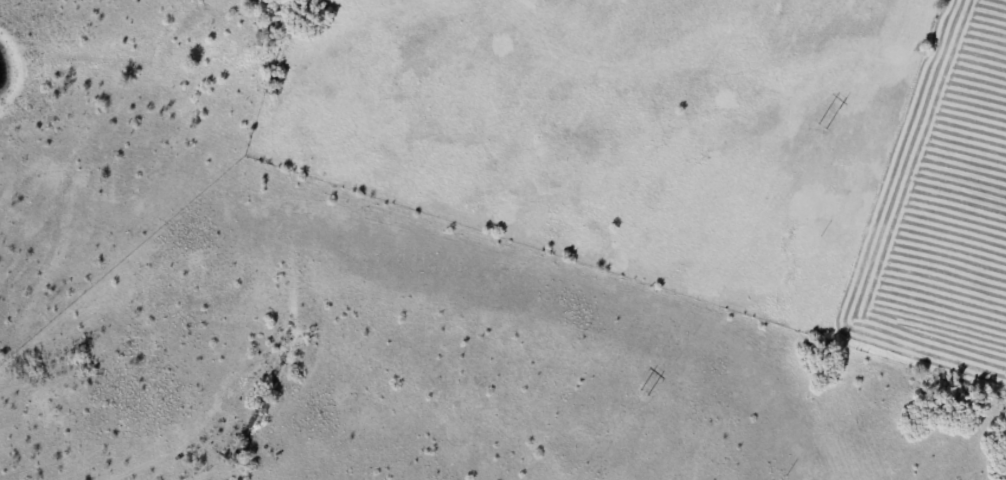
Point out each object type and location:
power tower: (820, 126)
power tower: (642, 392)

